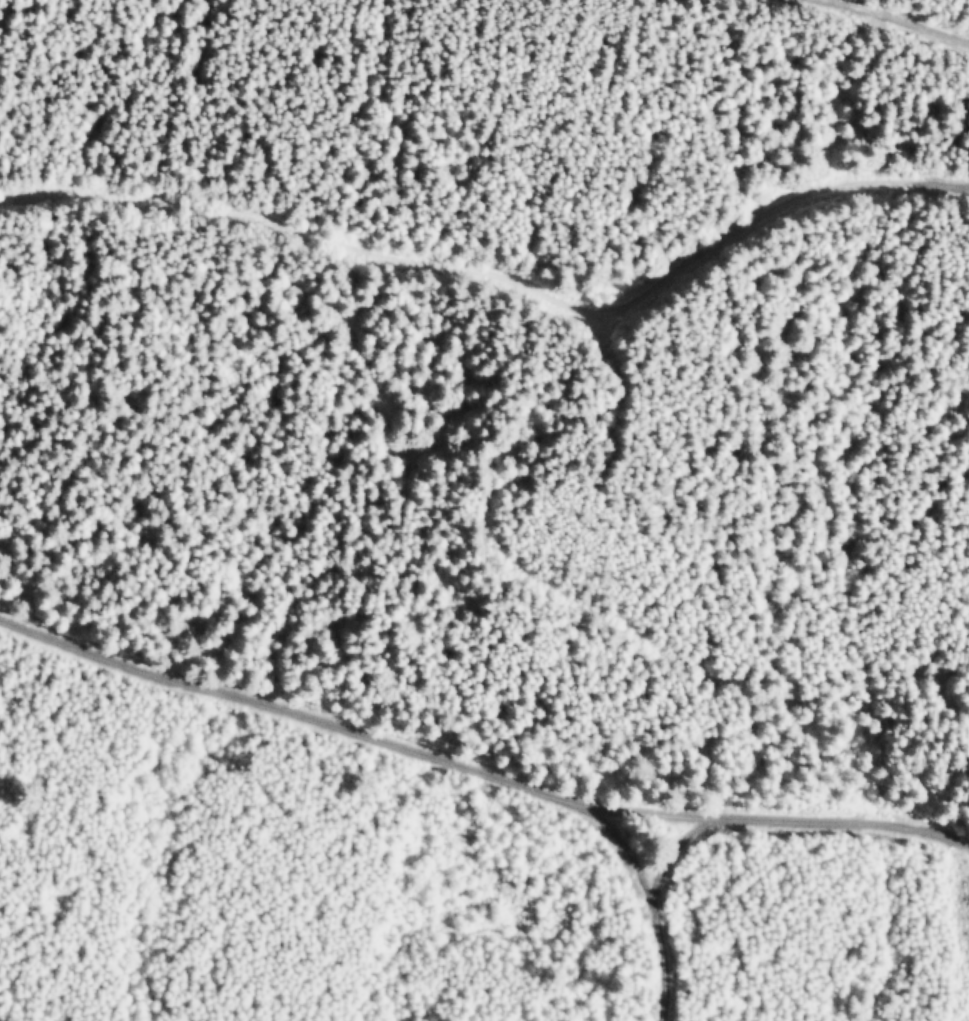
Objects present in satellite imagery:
road: (898, 22)
road: (497, 275)
road: (498, 503)
road: (475, 772)
road: (669, 849)
road: (650, 902)

